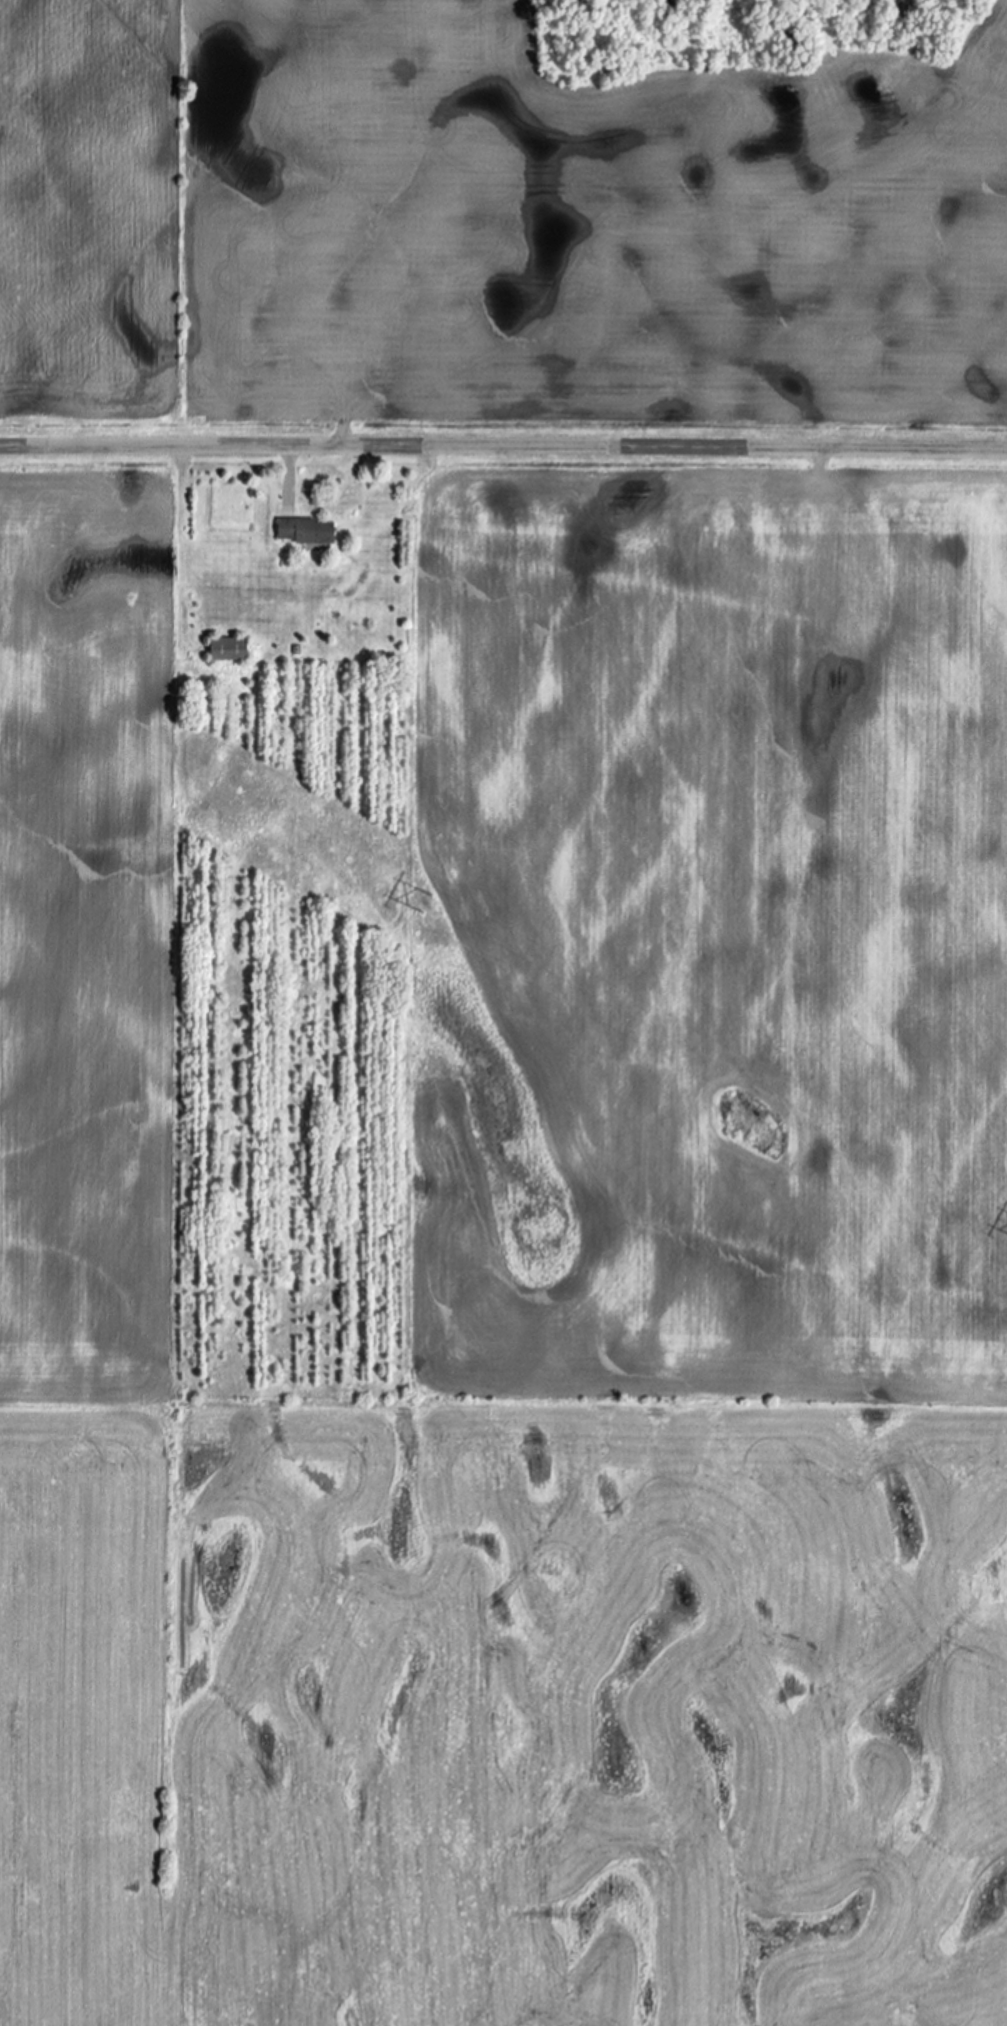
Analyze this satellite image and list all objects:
road: (503, 444)
road: (290, 470)
building: (306, 531)
power tower: (428, 903)

